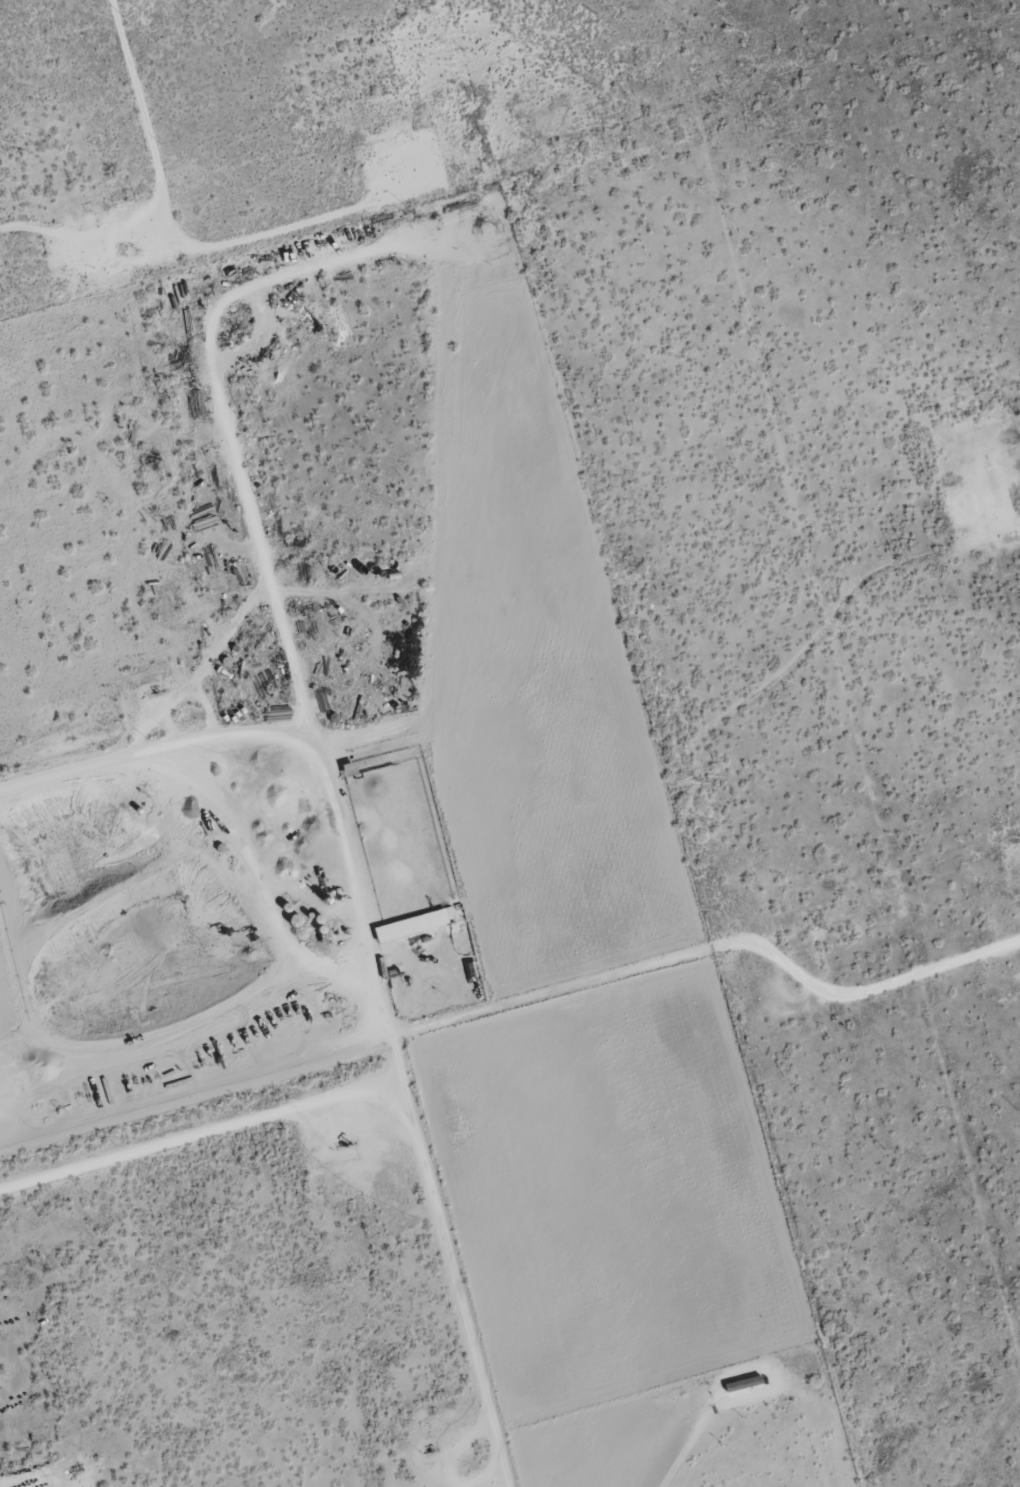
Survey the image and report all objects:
road: (313, 737)
building: (409, 925)

